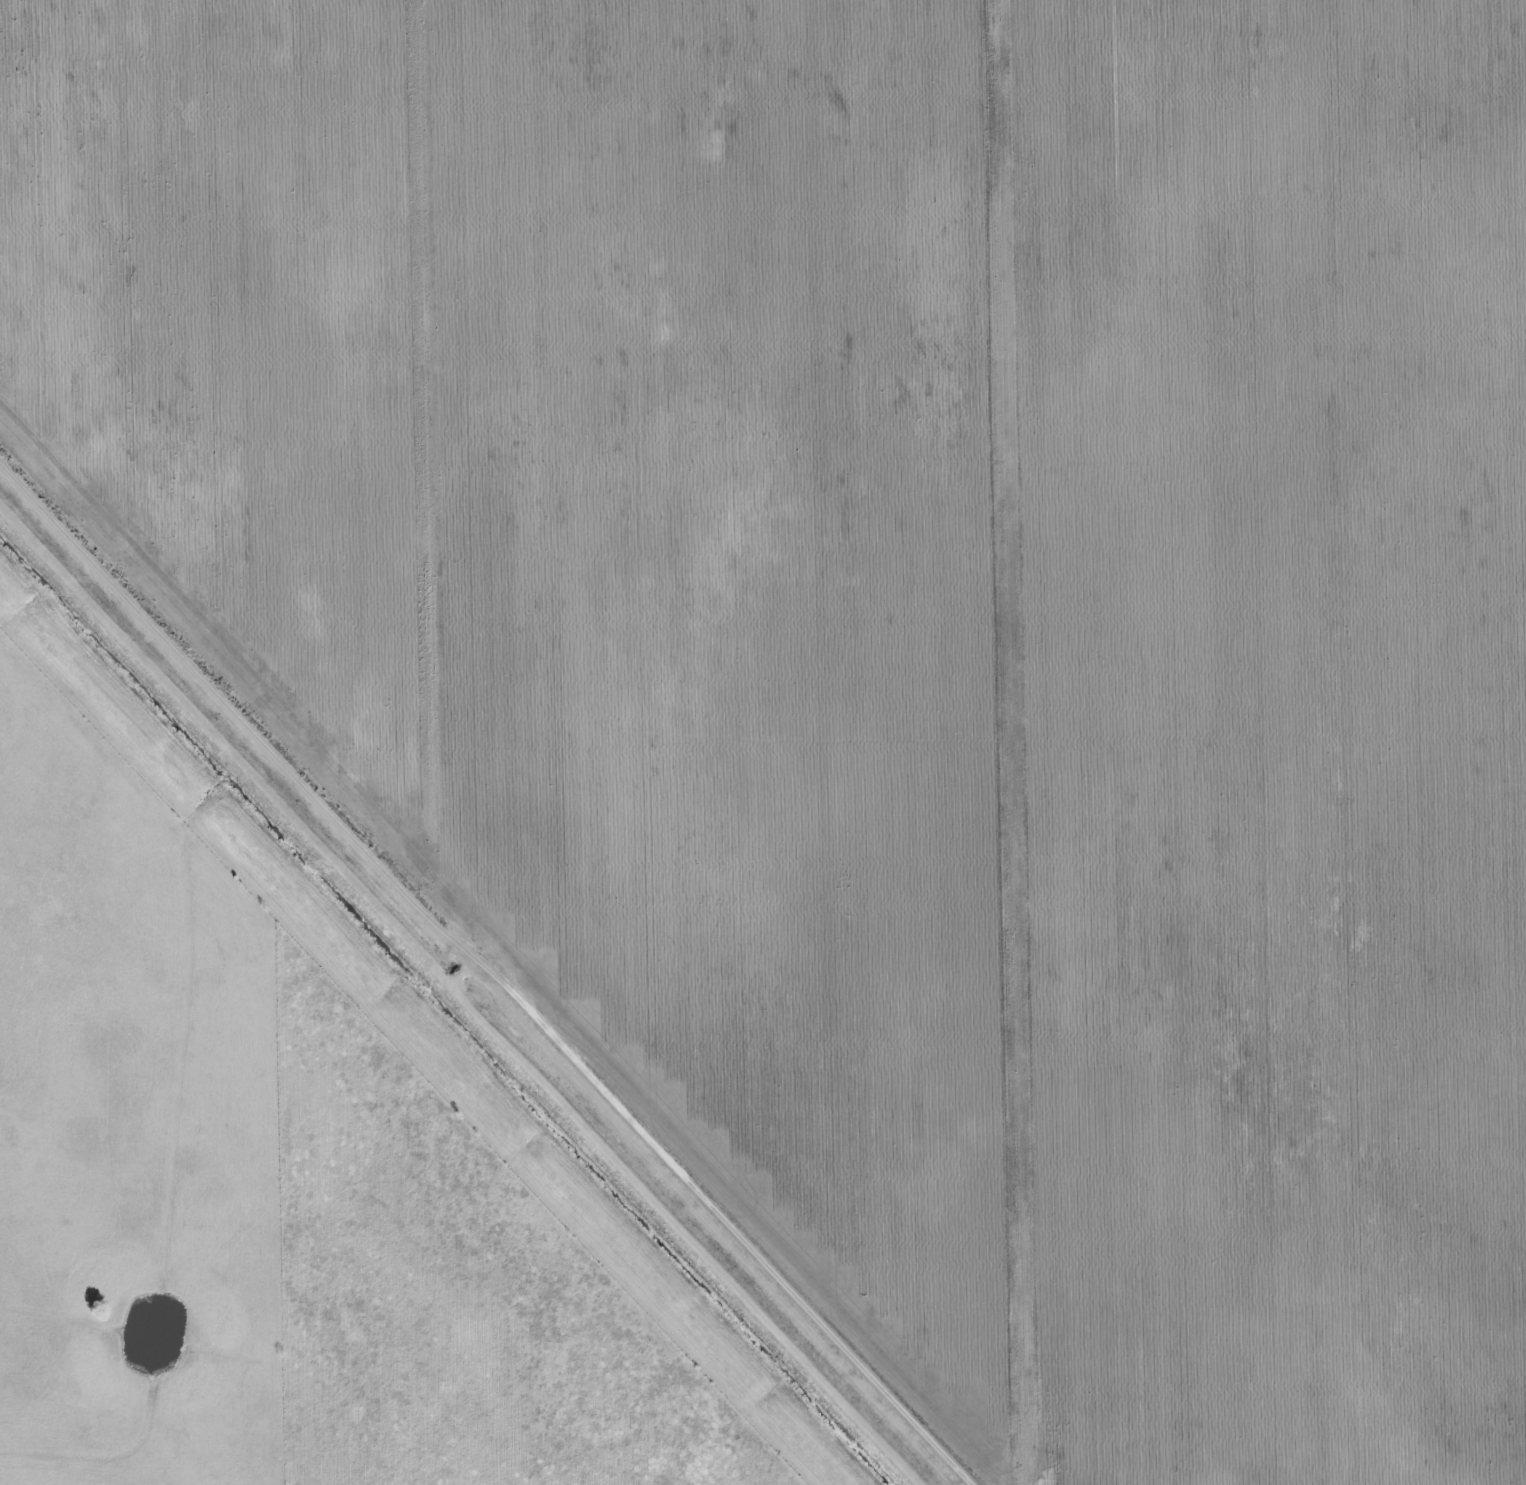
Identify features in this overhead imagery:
road: (435, 463)
road: (1019, 742)
road: (1342, 818)
road: (483, 970)

